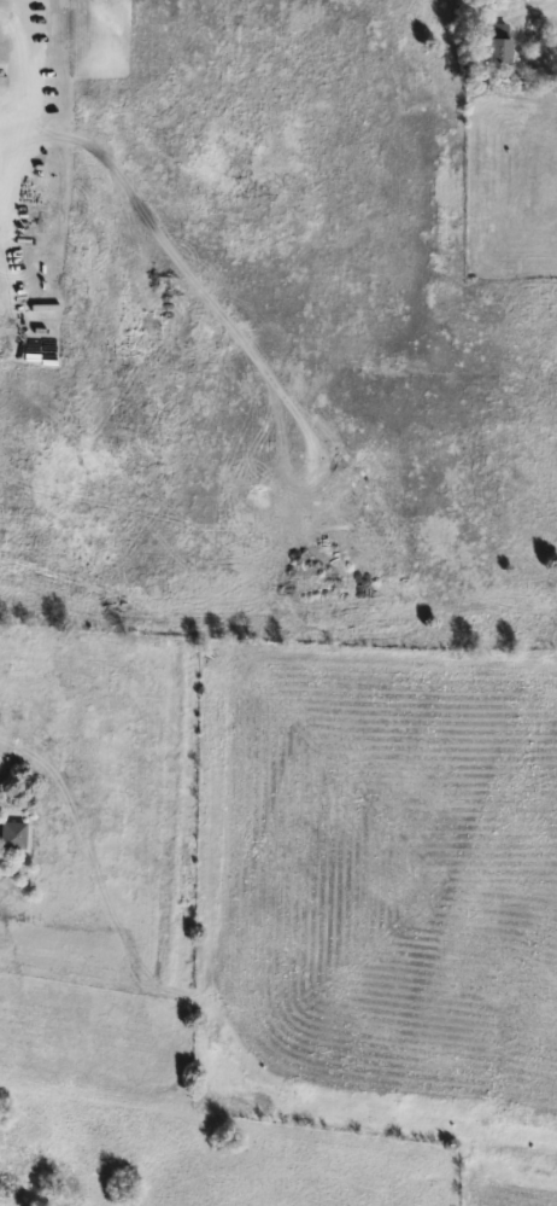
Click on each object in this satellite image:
road: (16, 7)
road: (538, 11)
building: (504, 45)
road: (27, 179)
building: (16, 834)
building: (6, 1185)

